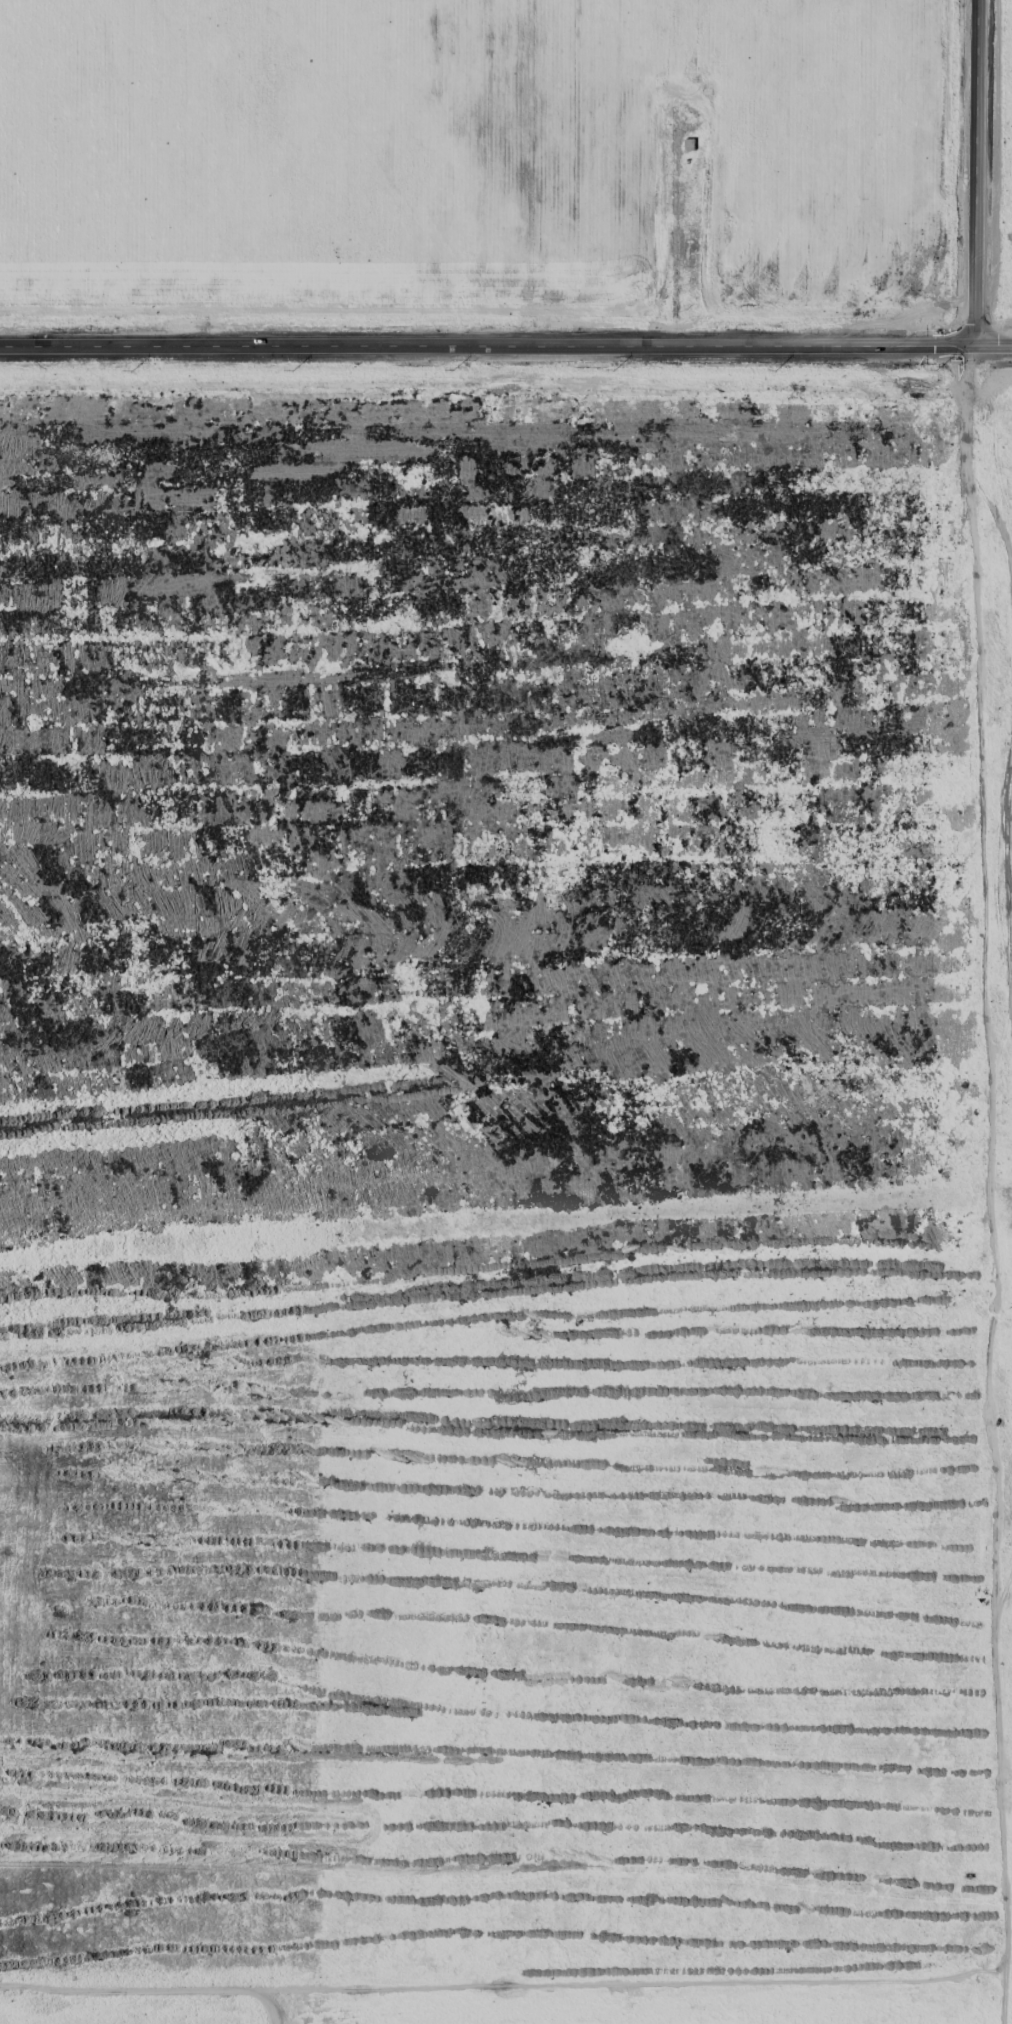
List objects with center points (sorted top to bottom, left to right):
road: (975, 173)
road: (506, 346)
road: (989, 1185)
road: (503, 1986)
road: (269, 2004)

